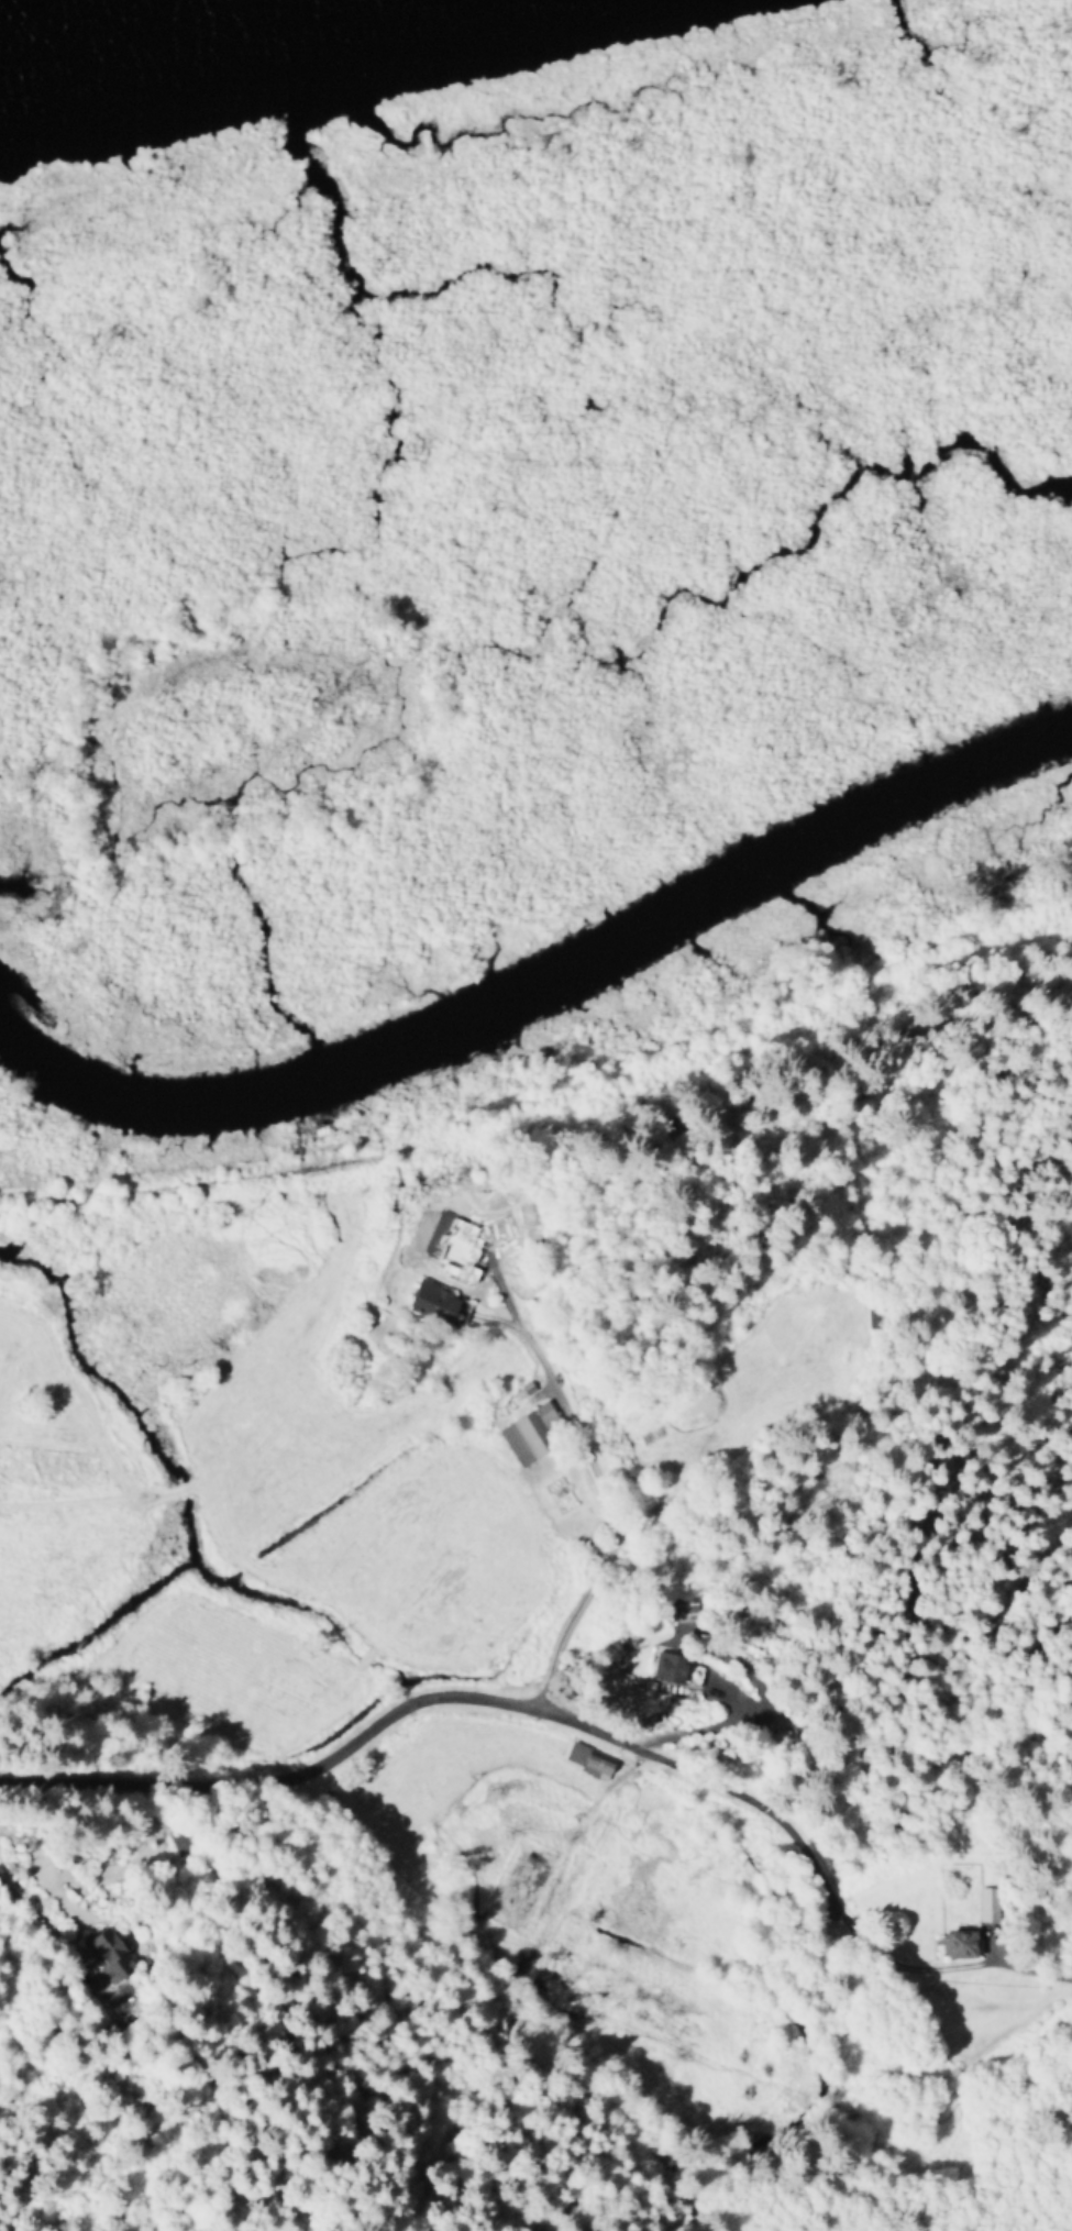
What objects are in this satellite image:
railway: (551, 1111)
building: (438, 1307)
building: (538, 1436)
building: (672, 1674)
road: (571, 1722)
building: (597, 1764)
building: (987, 1907)
building: (952, 1946)
building: (104, 1956)

